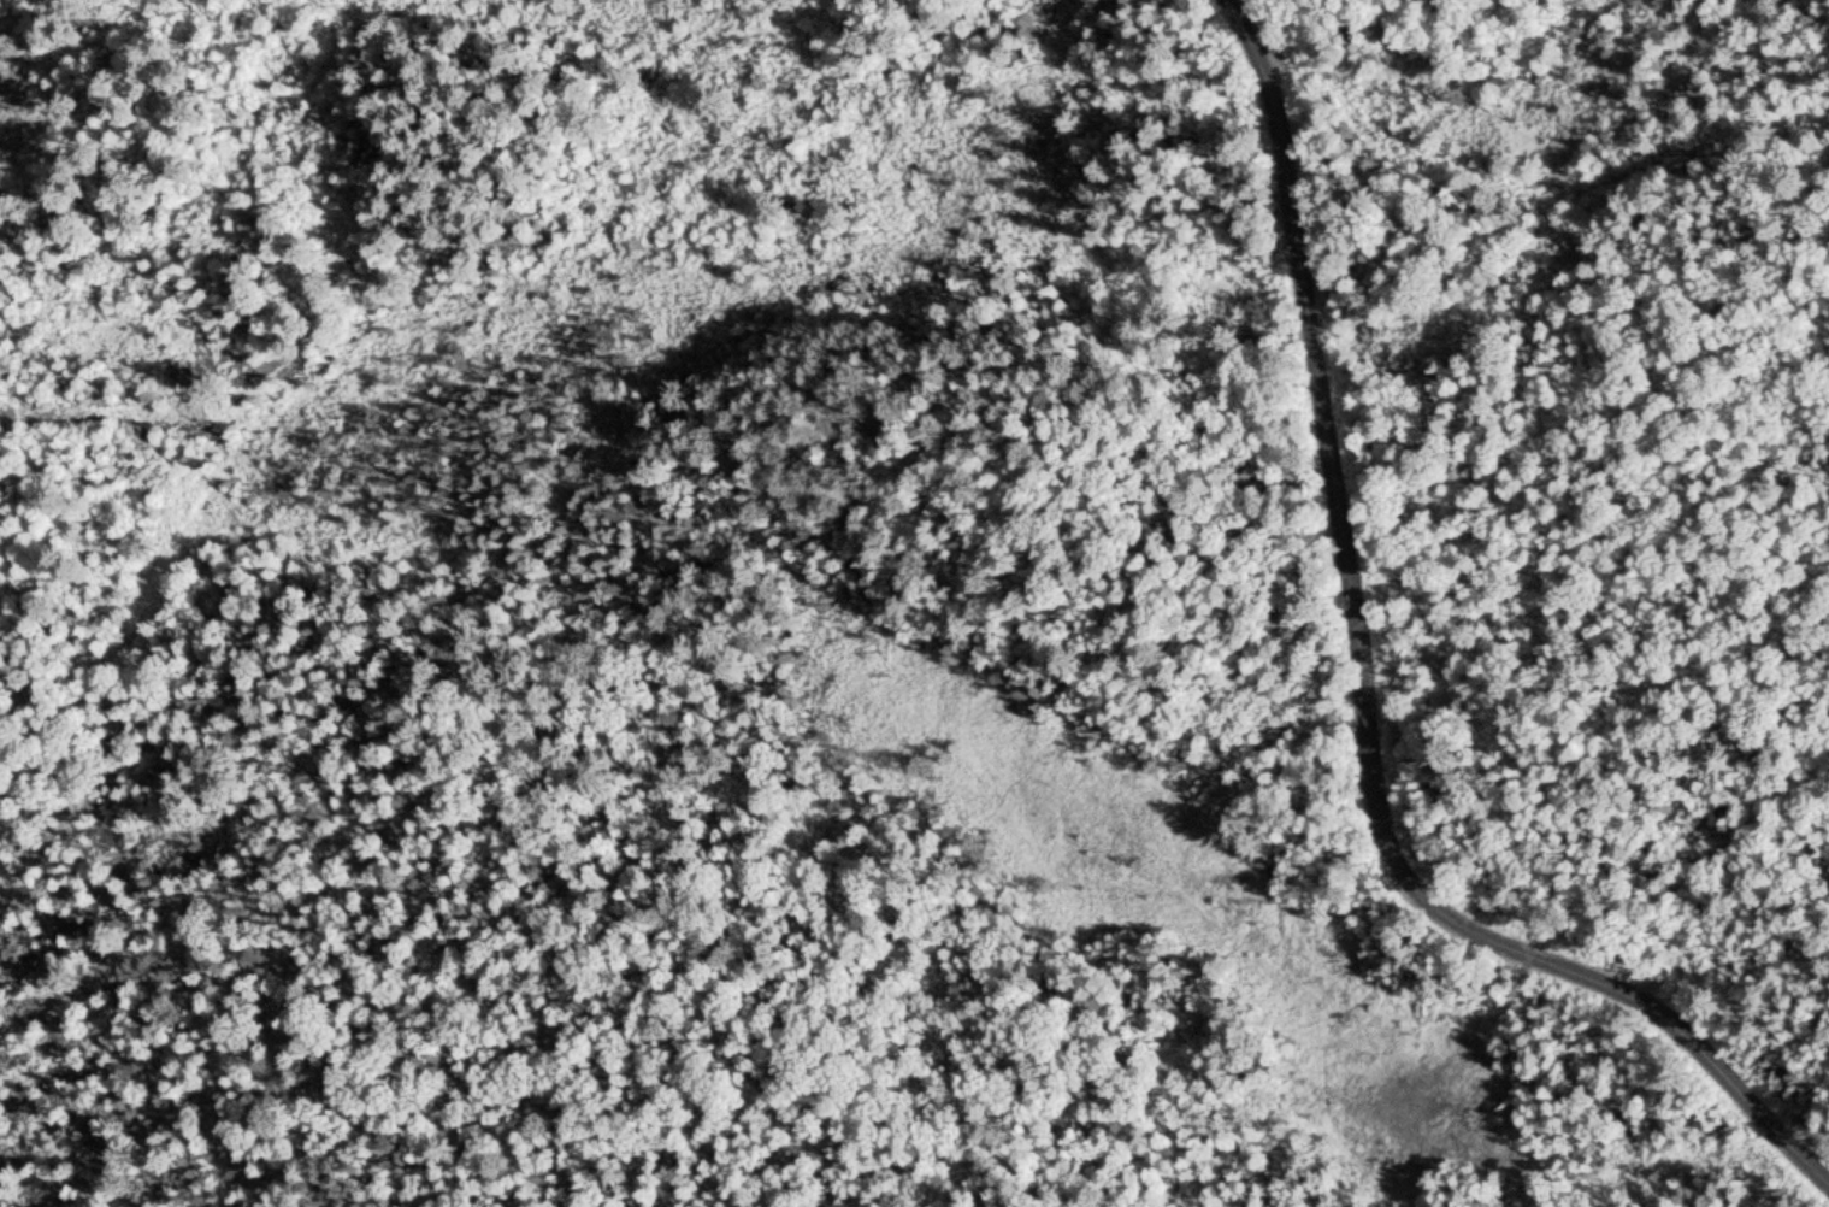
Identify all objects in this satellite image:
road: (1364, 699)

